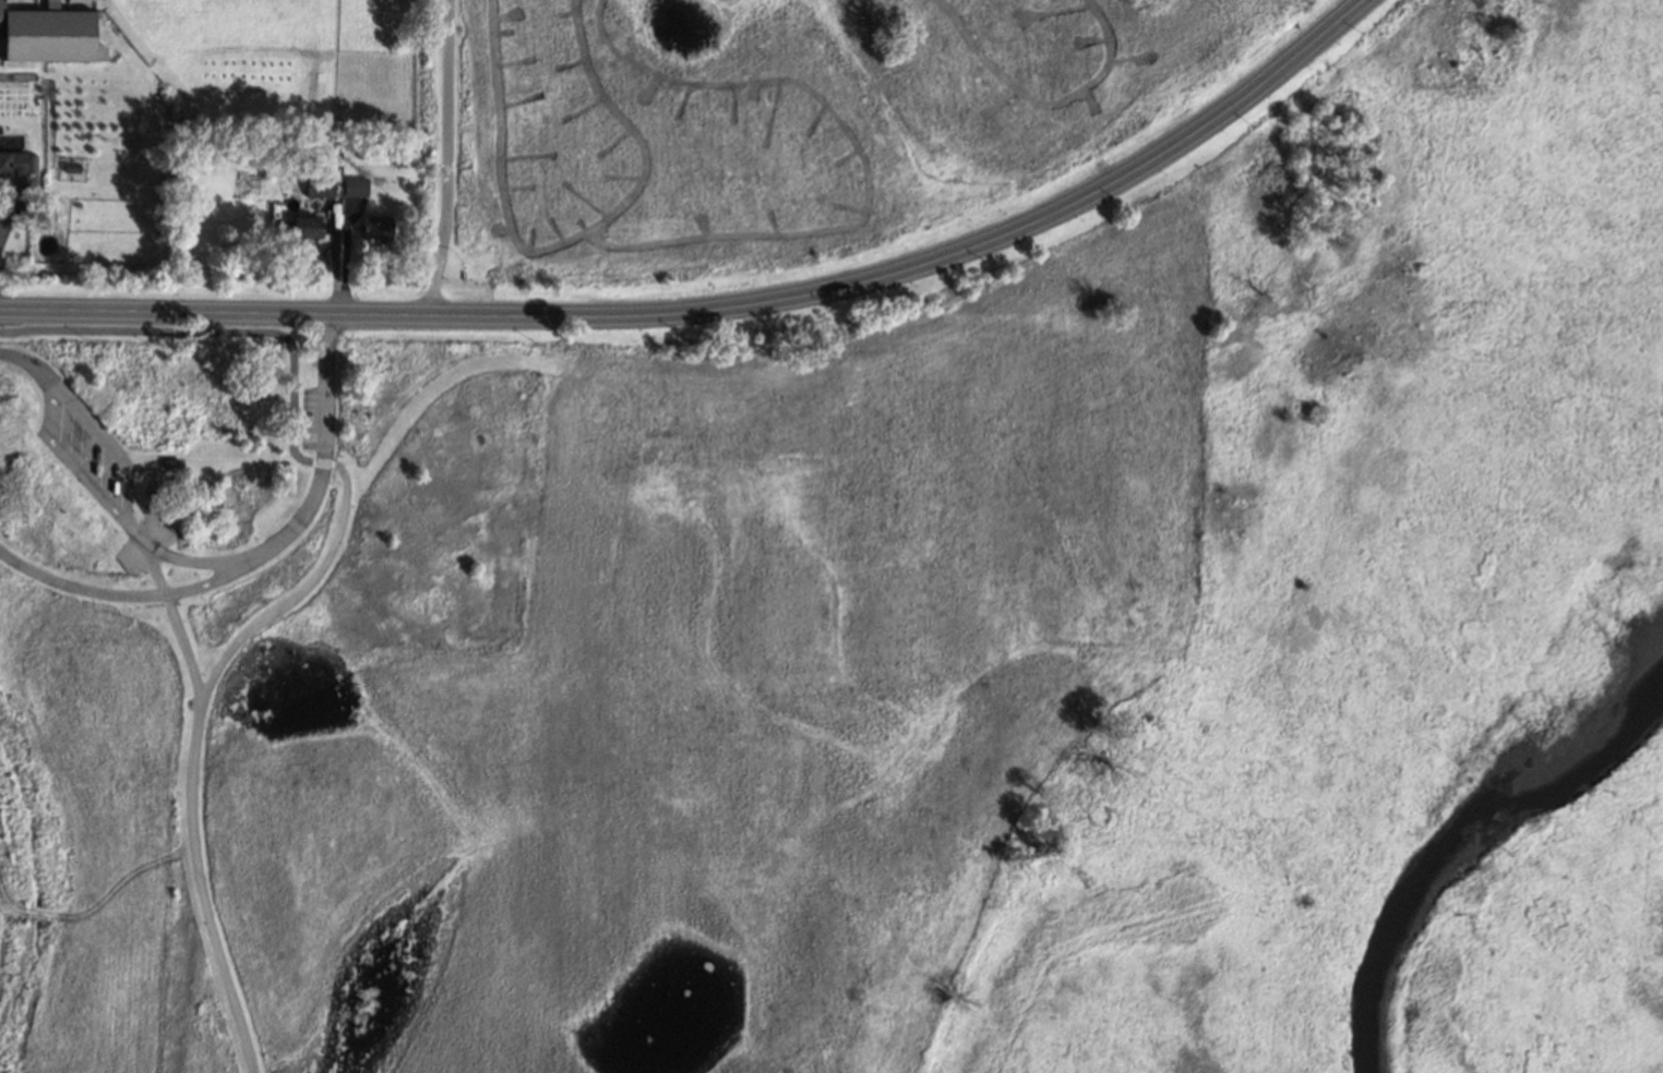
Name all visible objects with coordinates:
building: (50, 34)
park: (966, 36)
road: (1318, 89)
road: (448, 158)
building: (19, 162)
building: (356, 186)
road: (7, 215)
building: (378, 226)
building: (307, 227)
road: (723, 310)
road: (218, 330)
road: (429, 387)
parking lot: (309, 419)
road: (326, 449)
parking lot: (86, 450)
road: (204, 563)
road: (304, 589)
road: (189, 806)
river: (1463, 842)

